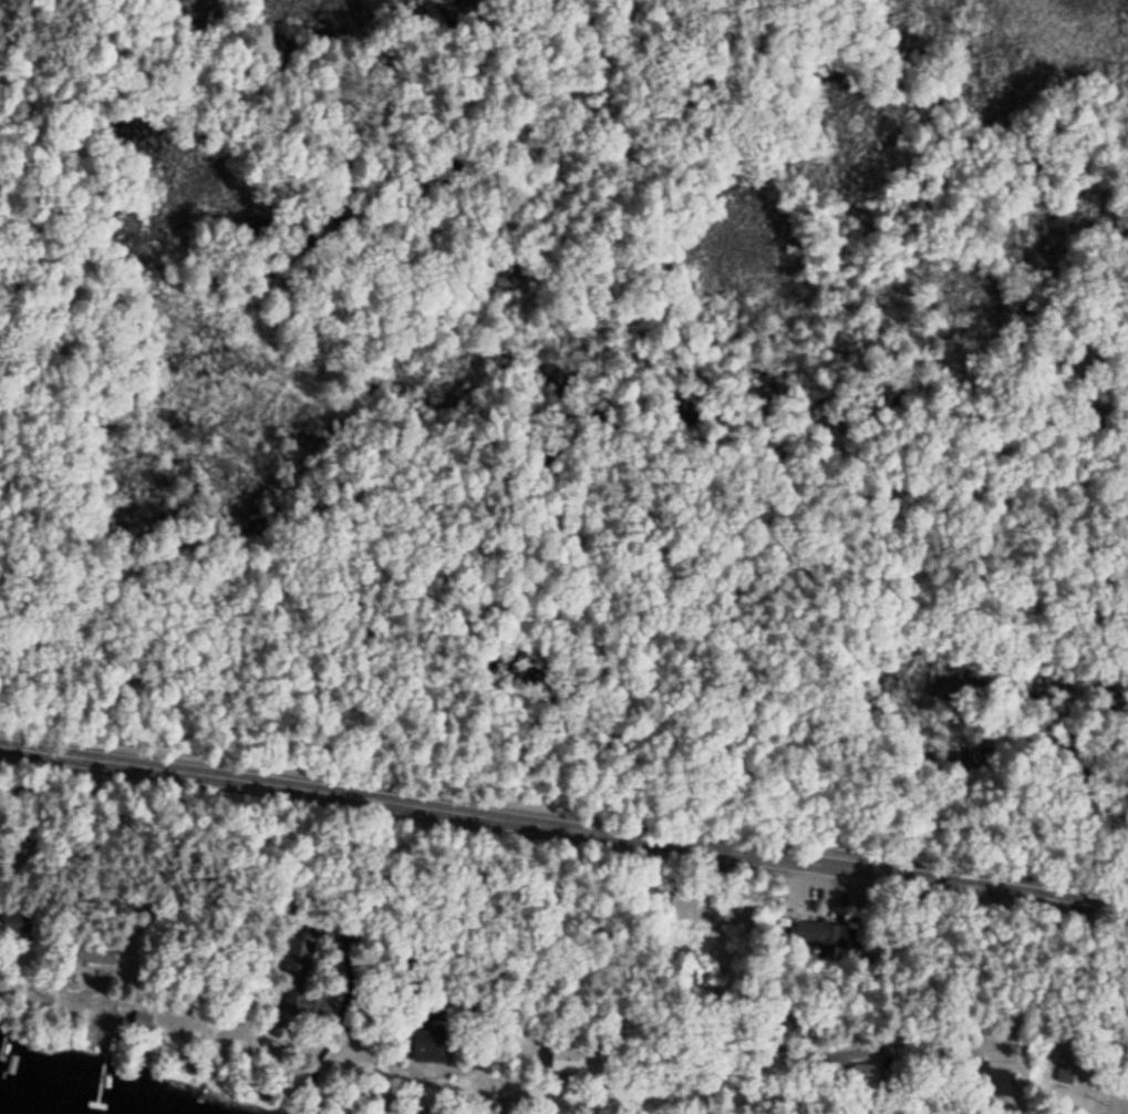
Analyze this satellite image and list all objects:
road: (563, 831)
building: (17, 925)
building: (92, 957)
building: (430, 1048)
building: (566, 1063)
building: (1064, 1076)
building: (865, 1081)
building: (993, 1085)

